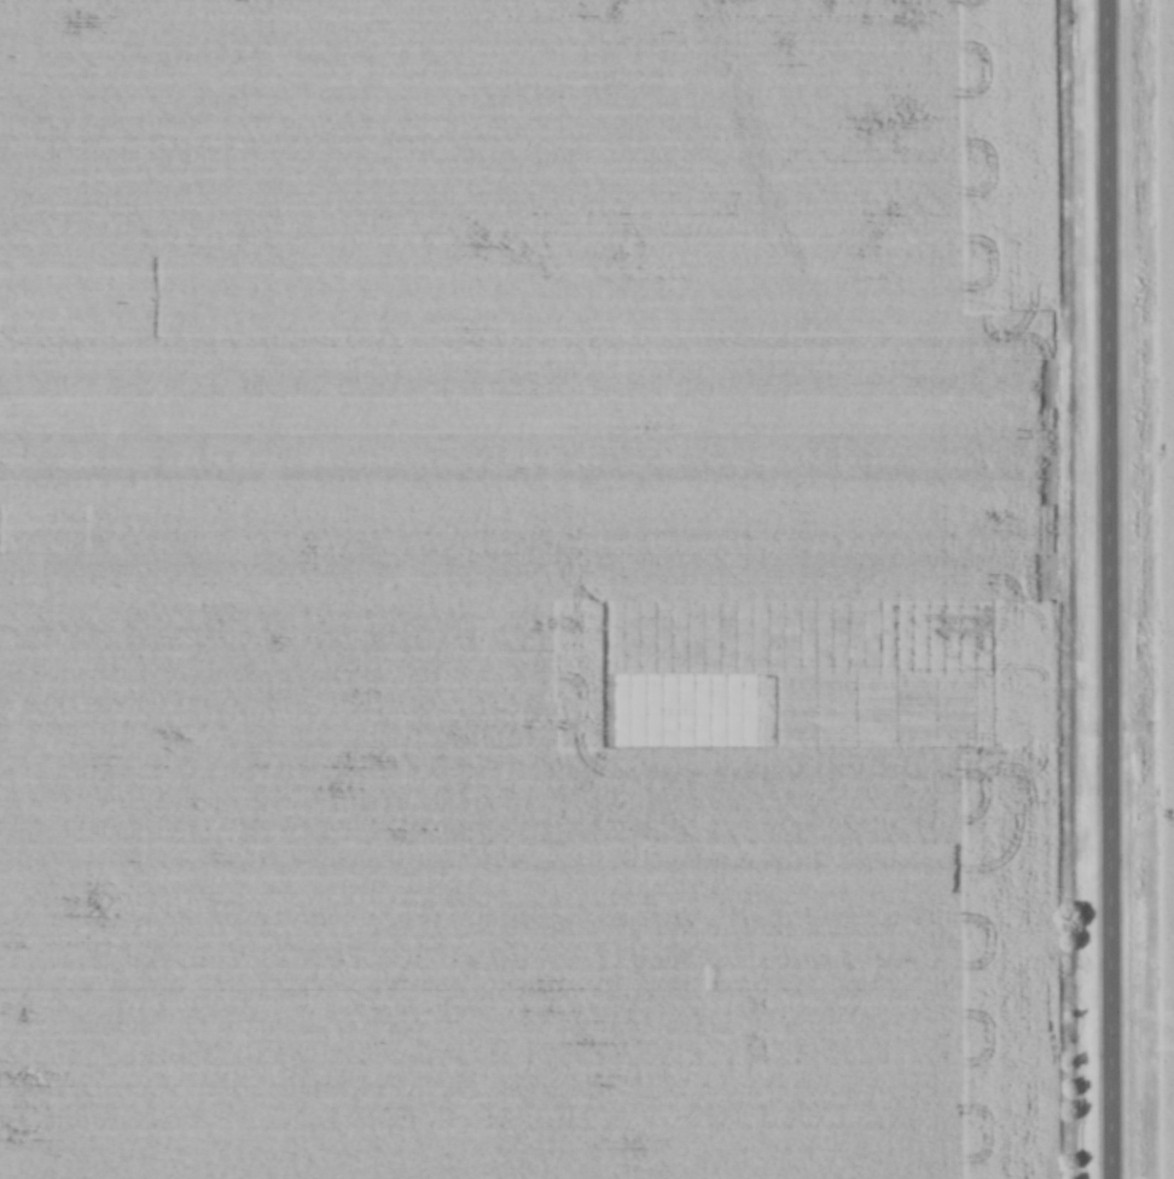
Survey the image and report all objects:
road: (1115, 589)

